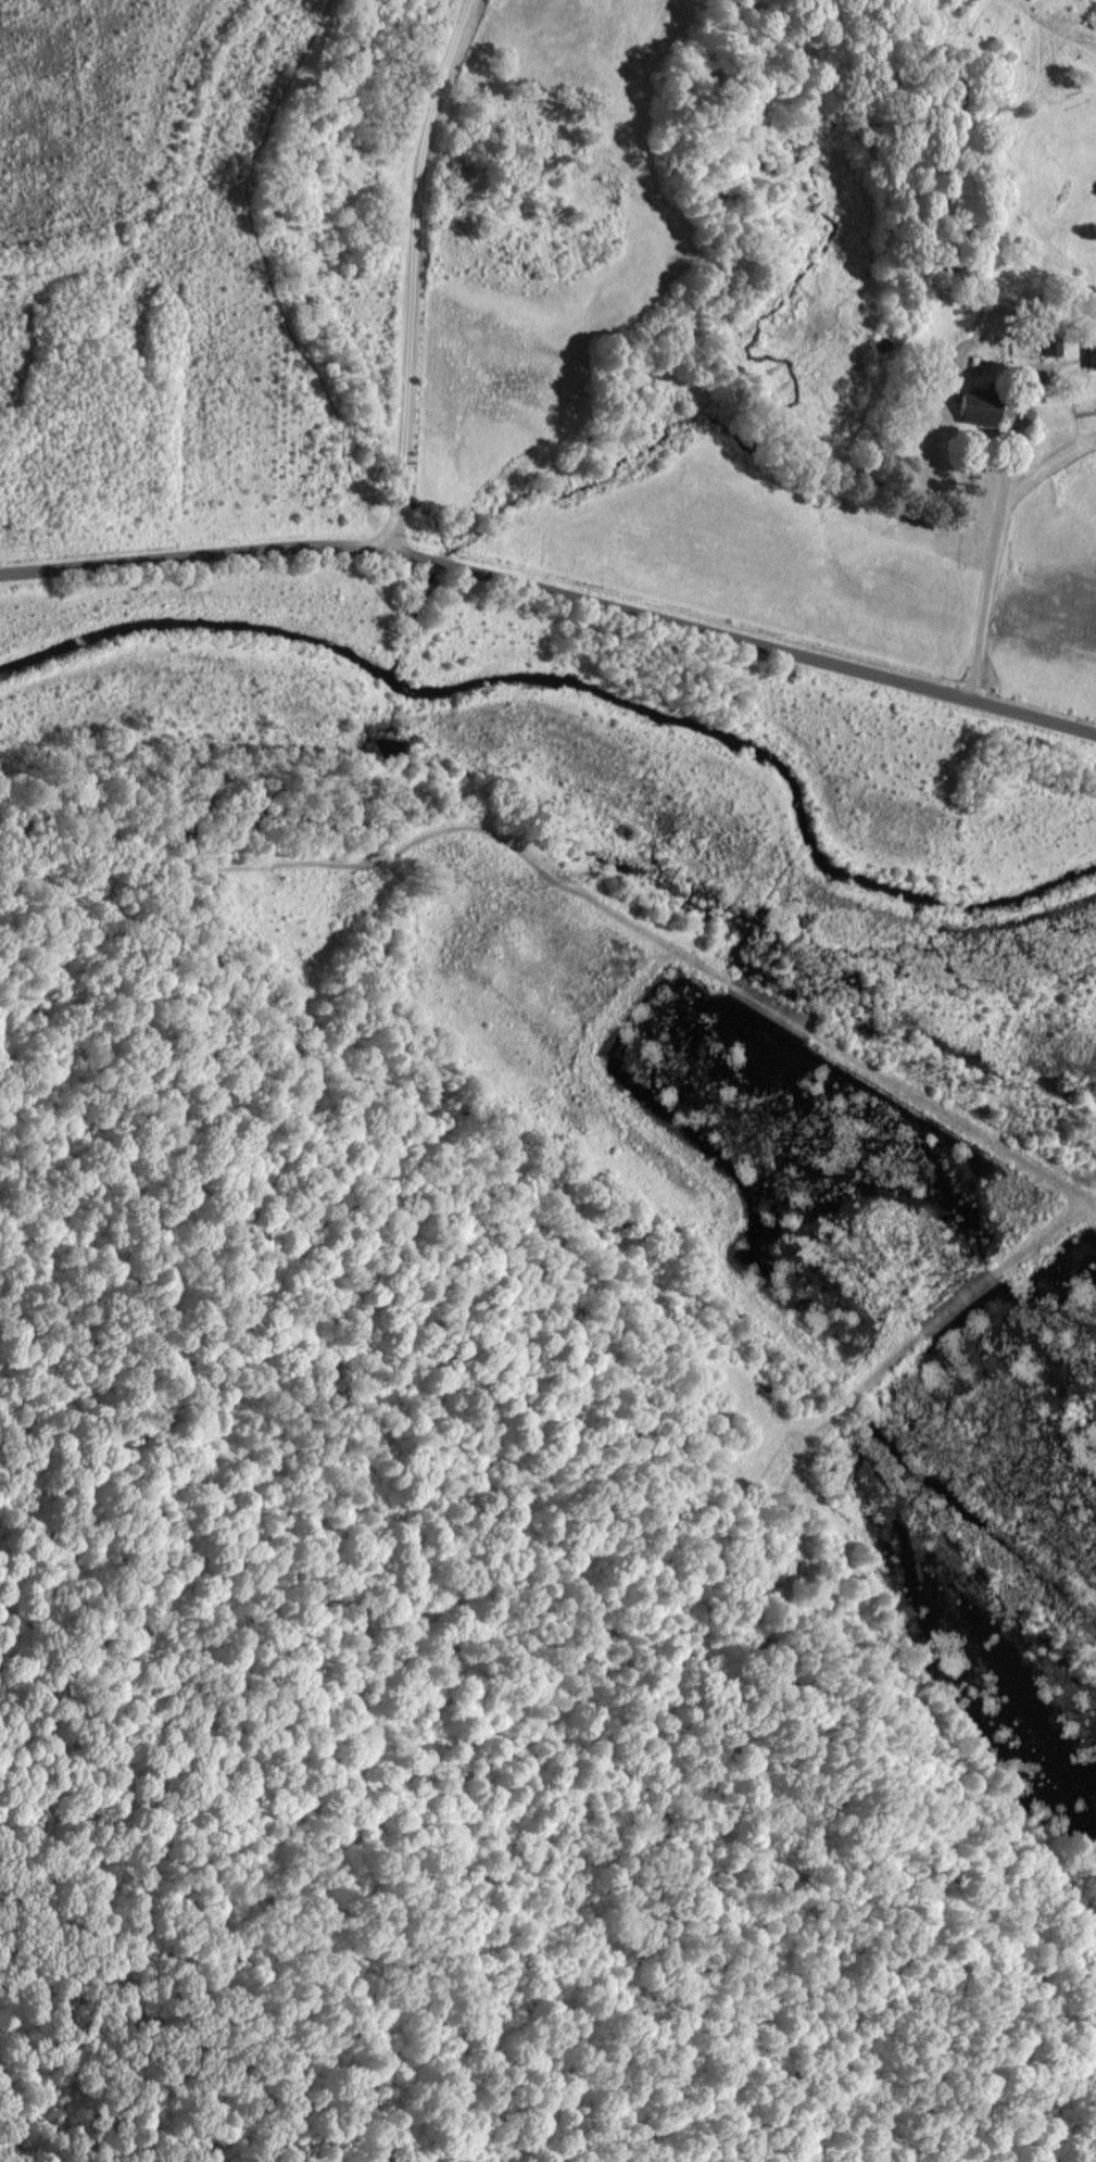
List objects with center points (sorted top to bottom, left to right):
road: (412, 271)
building: (973, 412)
road: (553, 588)
building: (781, 1572)

